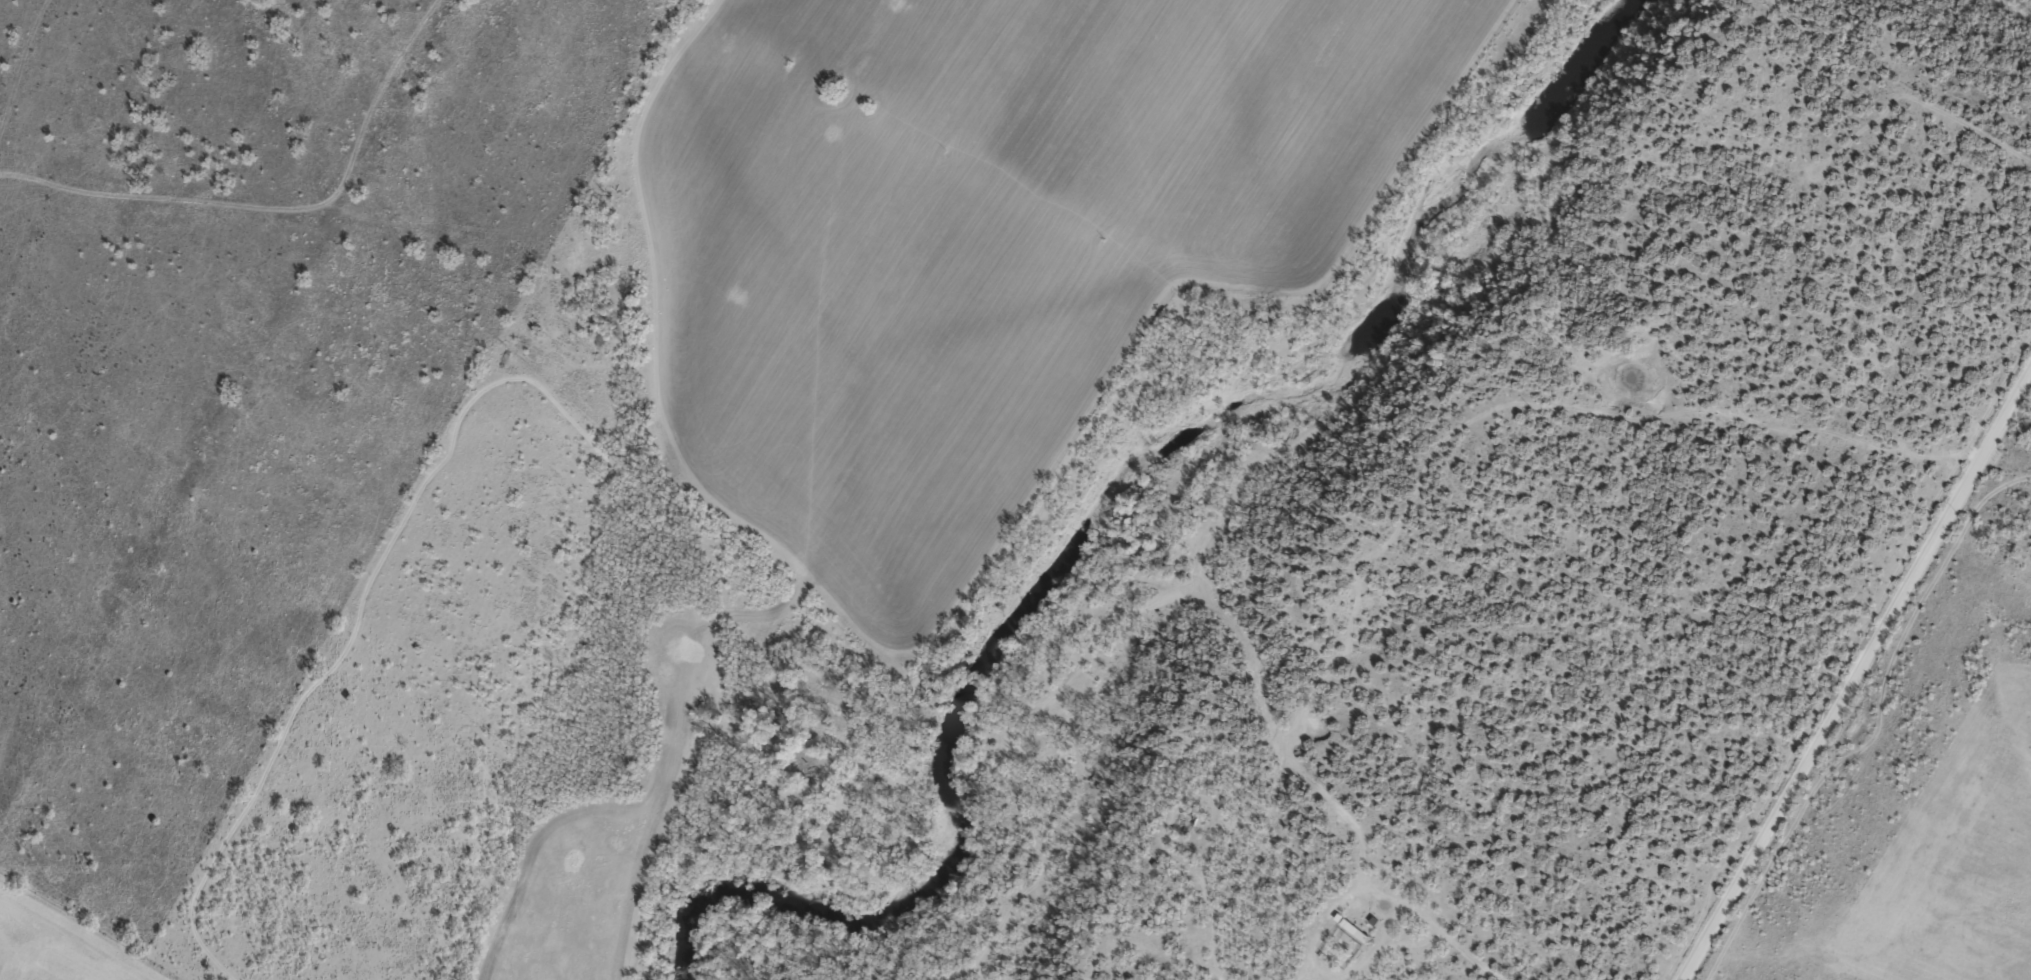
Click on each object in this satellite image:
road: (1865, 706)

